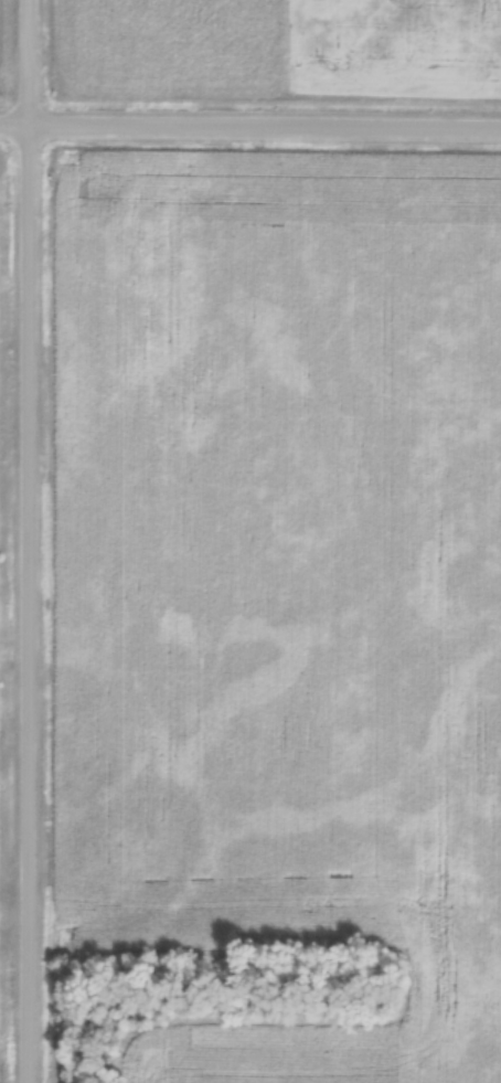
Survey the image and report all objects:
road: (250, 124)
road: (26, 541)

